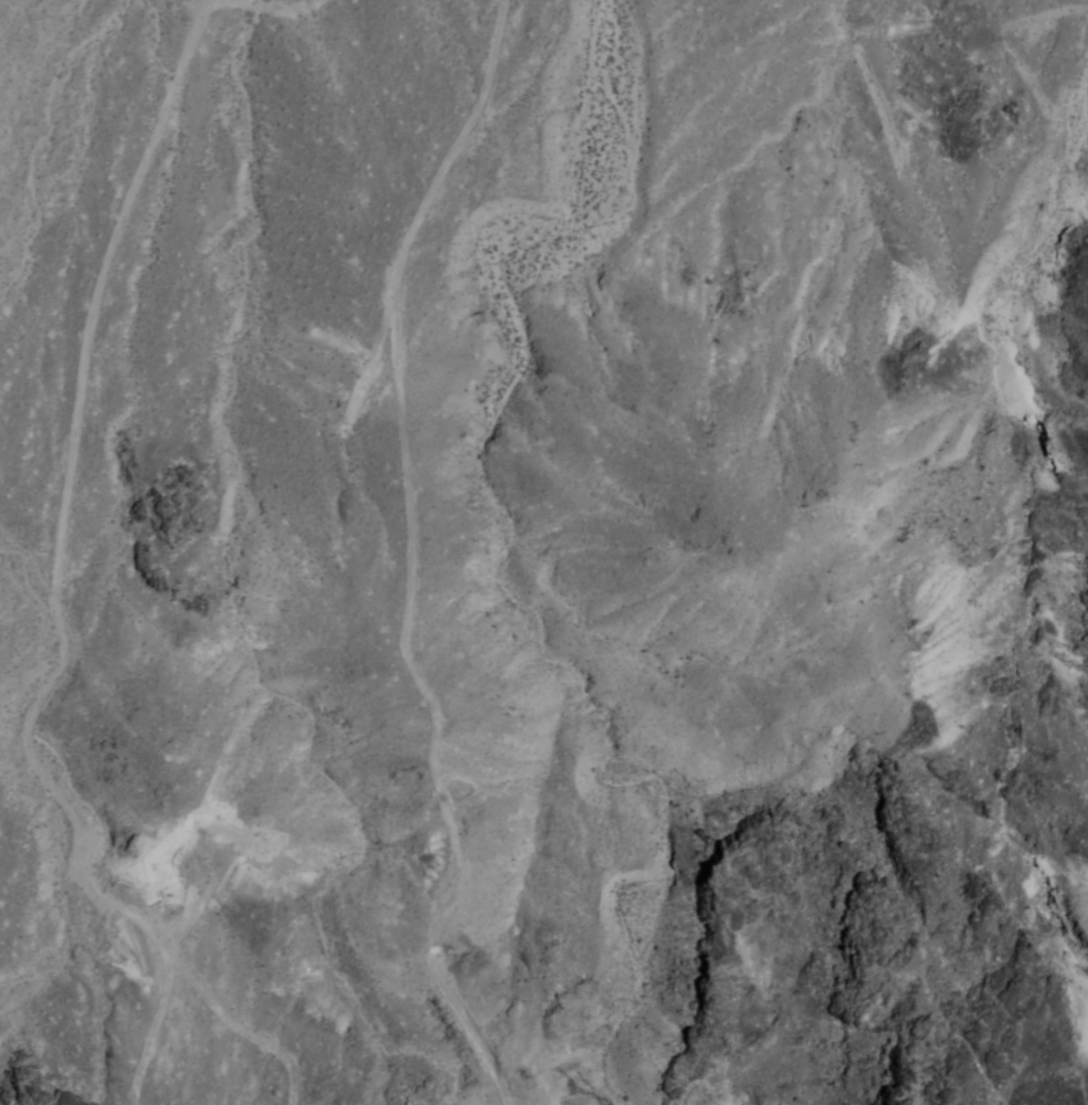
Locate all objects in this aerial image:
road: (65, 514)
road: (410, 558)

